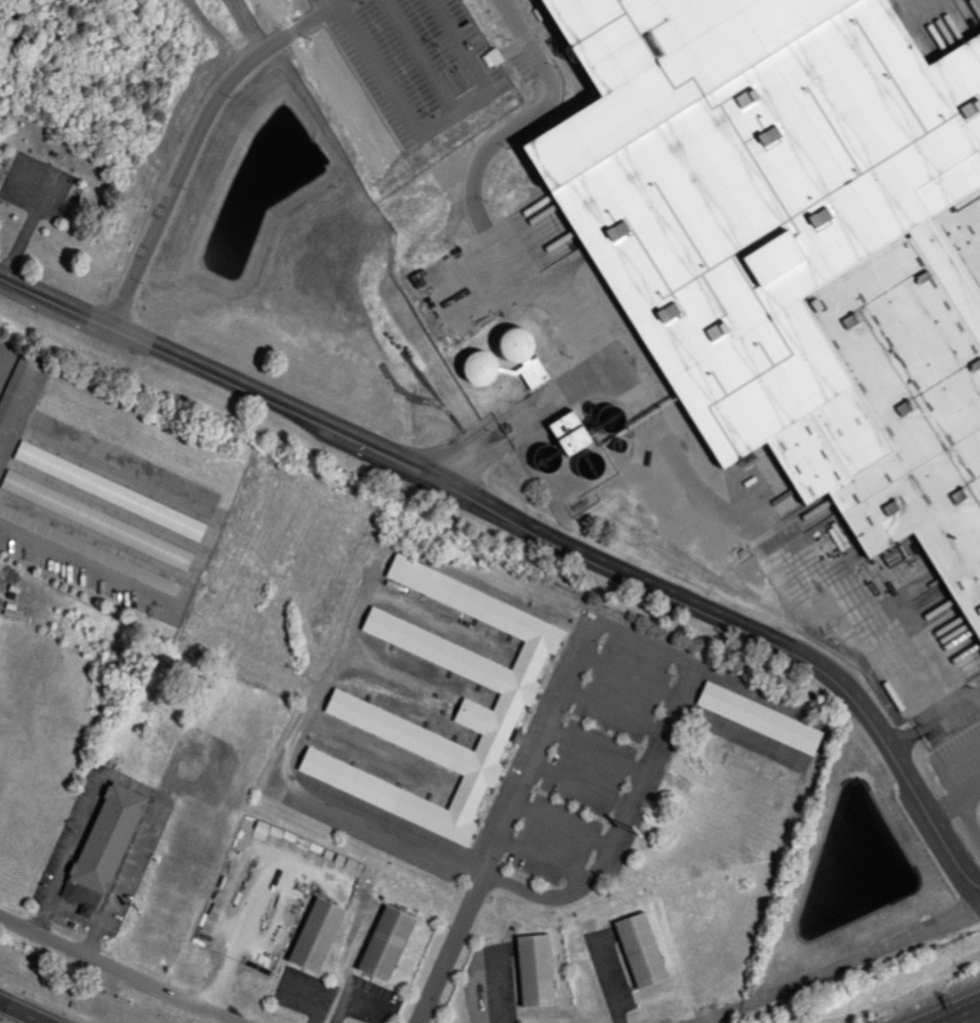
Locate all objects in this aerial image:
road: (187, 182)
parking lot: (49, 189)
road: (1, 201)
park: (63, 203)
building: (795, 244)
road: (27, 245)
road: (502, 262)
building: (516, 351)
road: (611, 377)
building: (14, 390)
road: (531, 415)
road: (452, 464)
building: (171, 520)
building: (682, 524)
road: (211, 532)
road: (532, 533)
building: (88, 550)
road: (810, 570)
road: (680, 660)
road: (335, 663)
building: (342, 703)
building: (759, 717)
road: (934, 721)
building: (107, 839)
road: (254, 898)
building: (313, 935)
building: (383, 943)
road: (449, 949)
building: (637, 949)
road: (859, 959)
road: (118, 969)
building: (532, 969)
road: (608, 983)
road: (493, 988)
road: (312, 999)
road: (352, 999)
road: (948, 1009)
road: (14, 1016)
road: (722, 1016)
road: (966, 1016)

